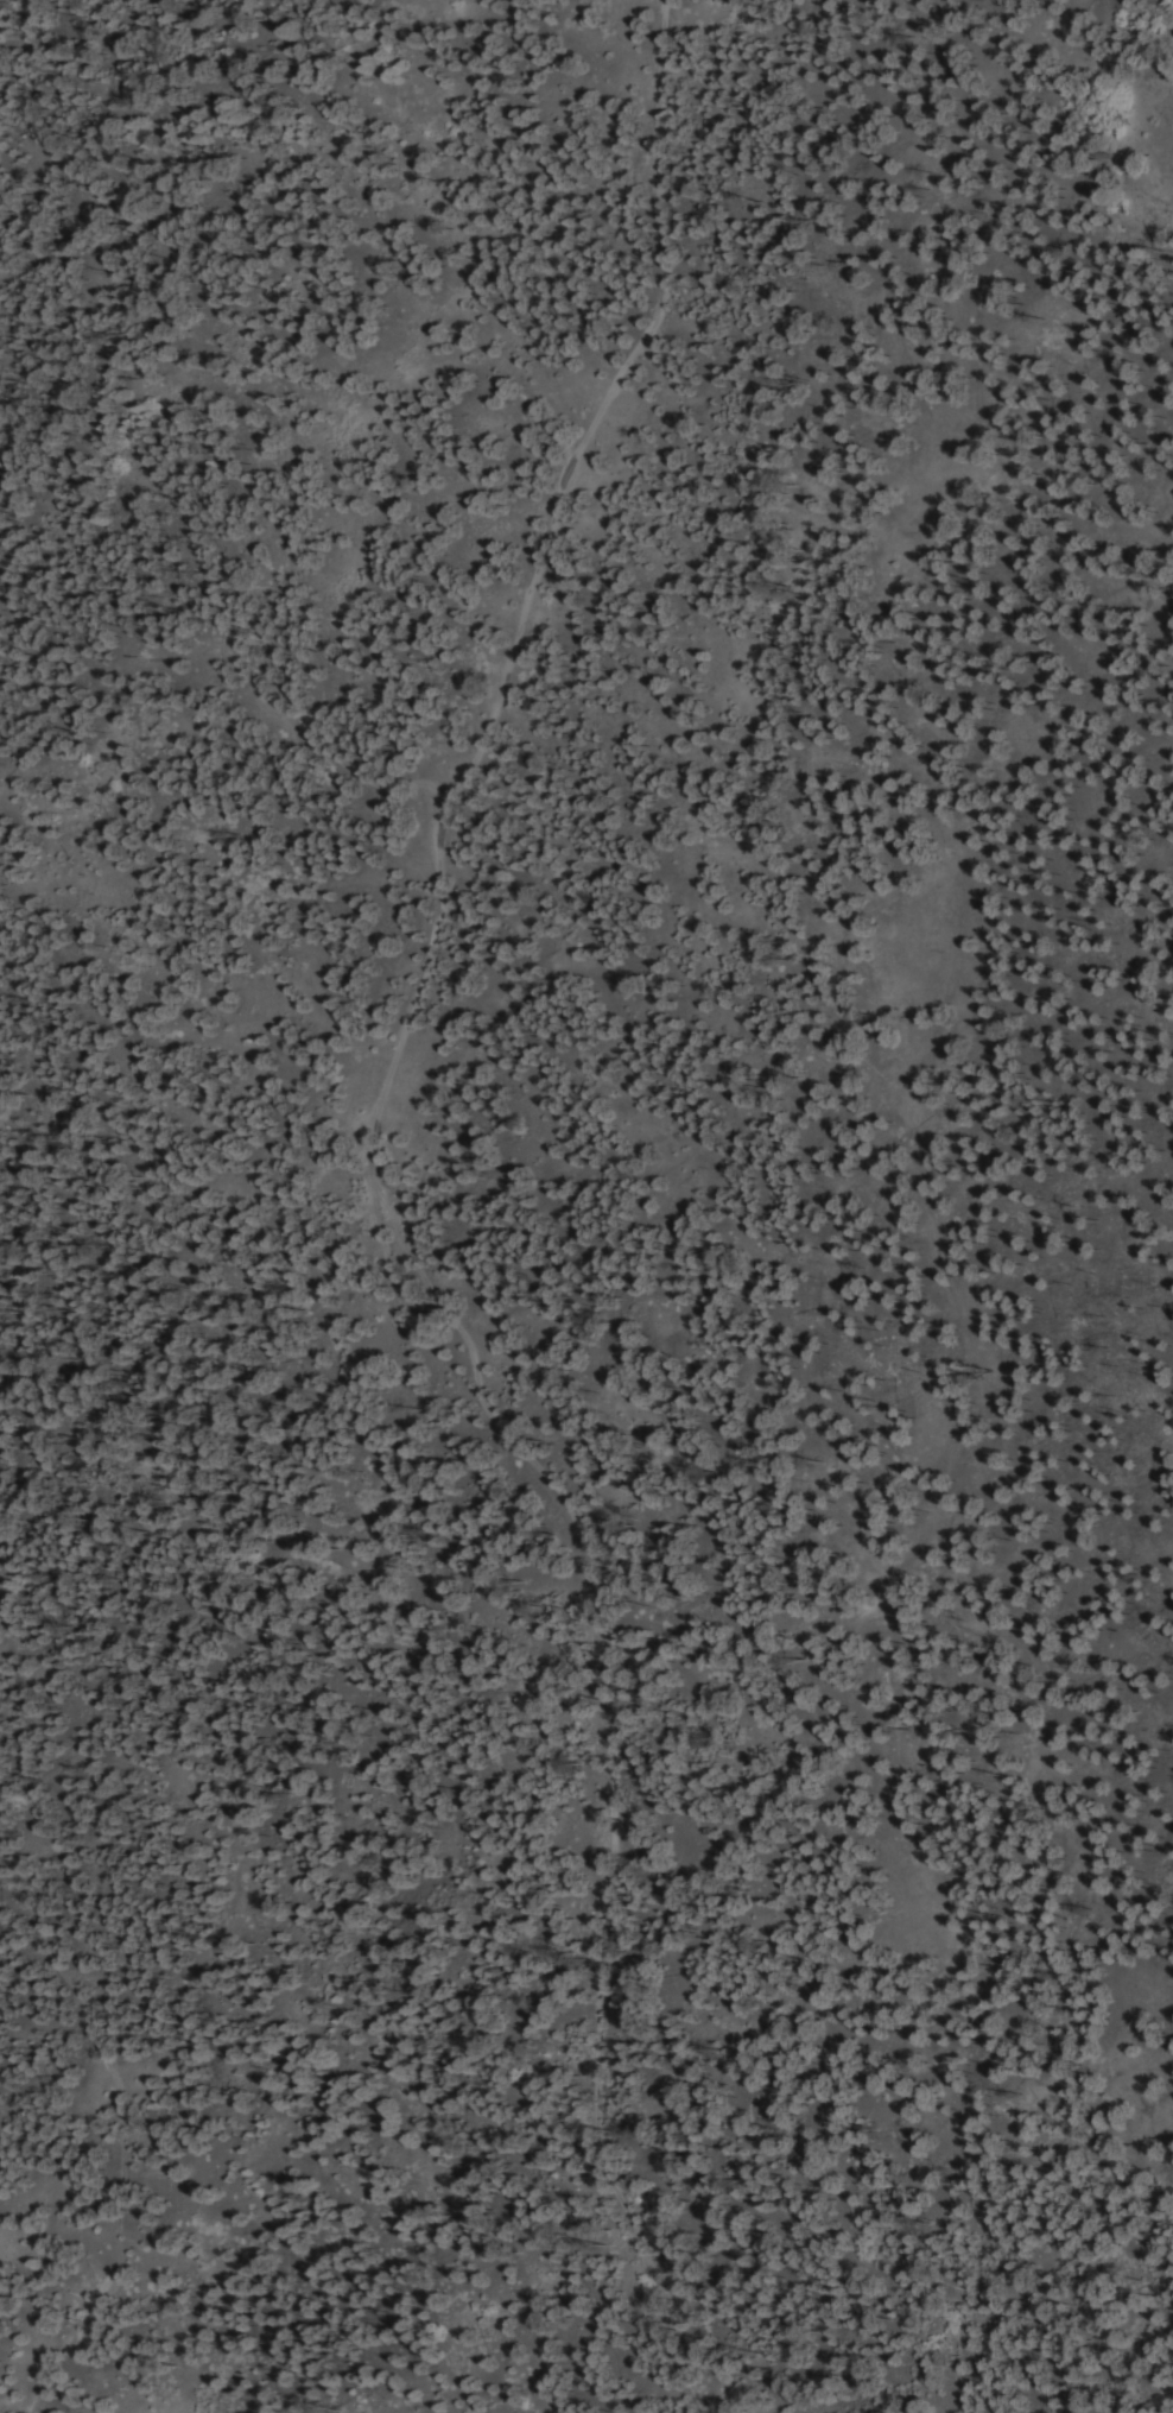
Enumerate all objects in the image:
road: (375, 1084)
road: (123, 2147)
road: (677, 2285)

